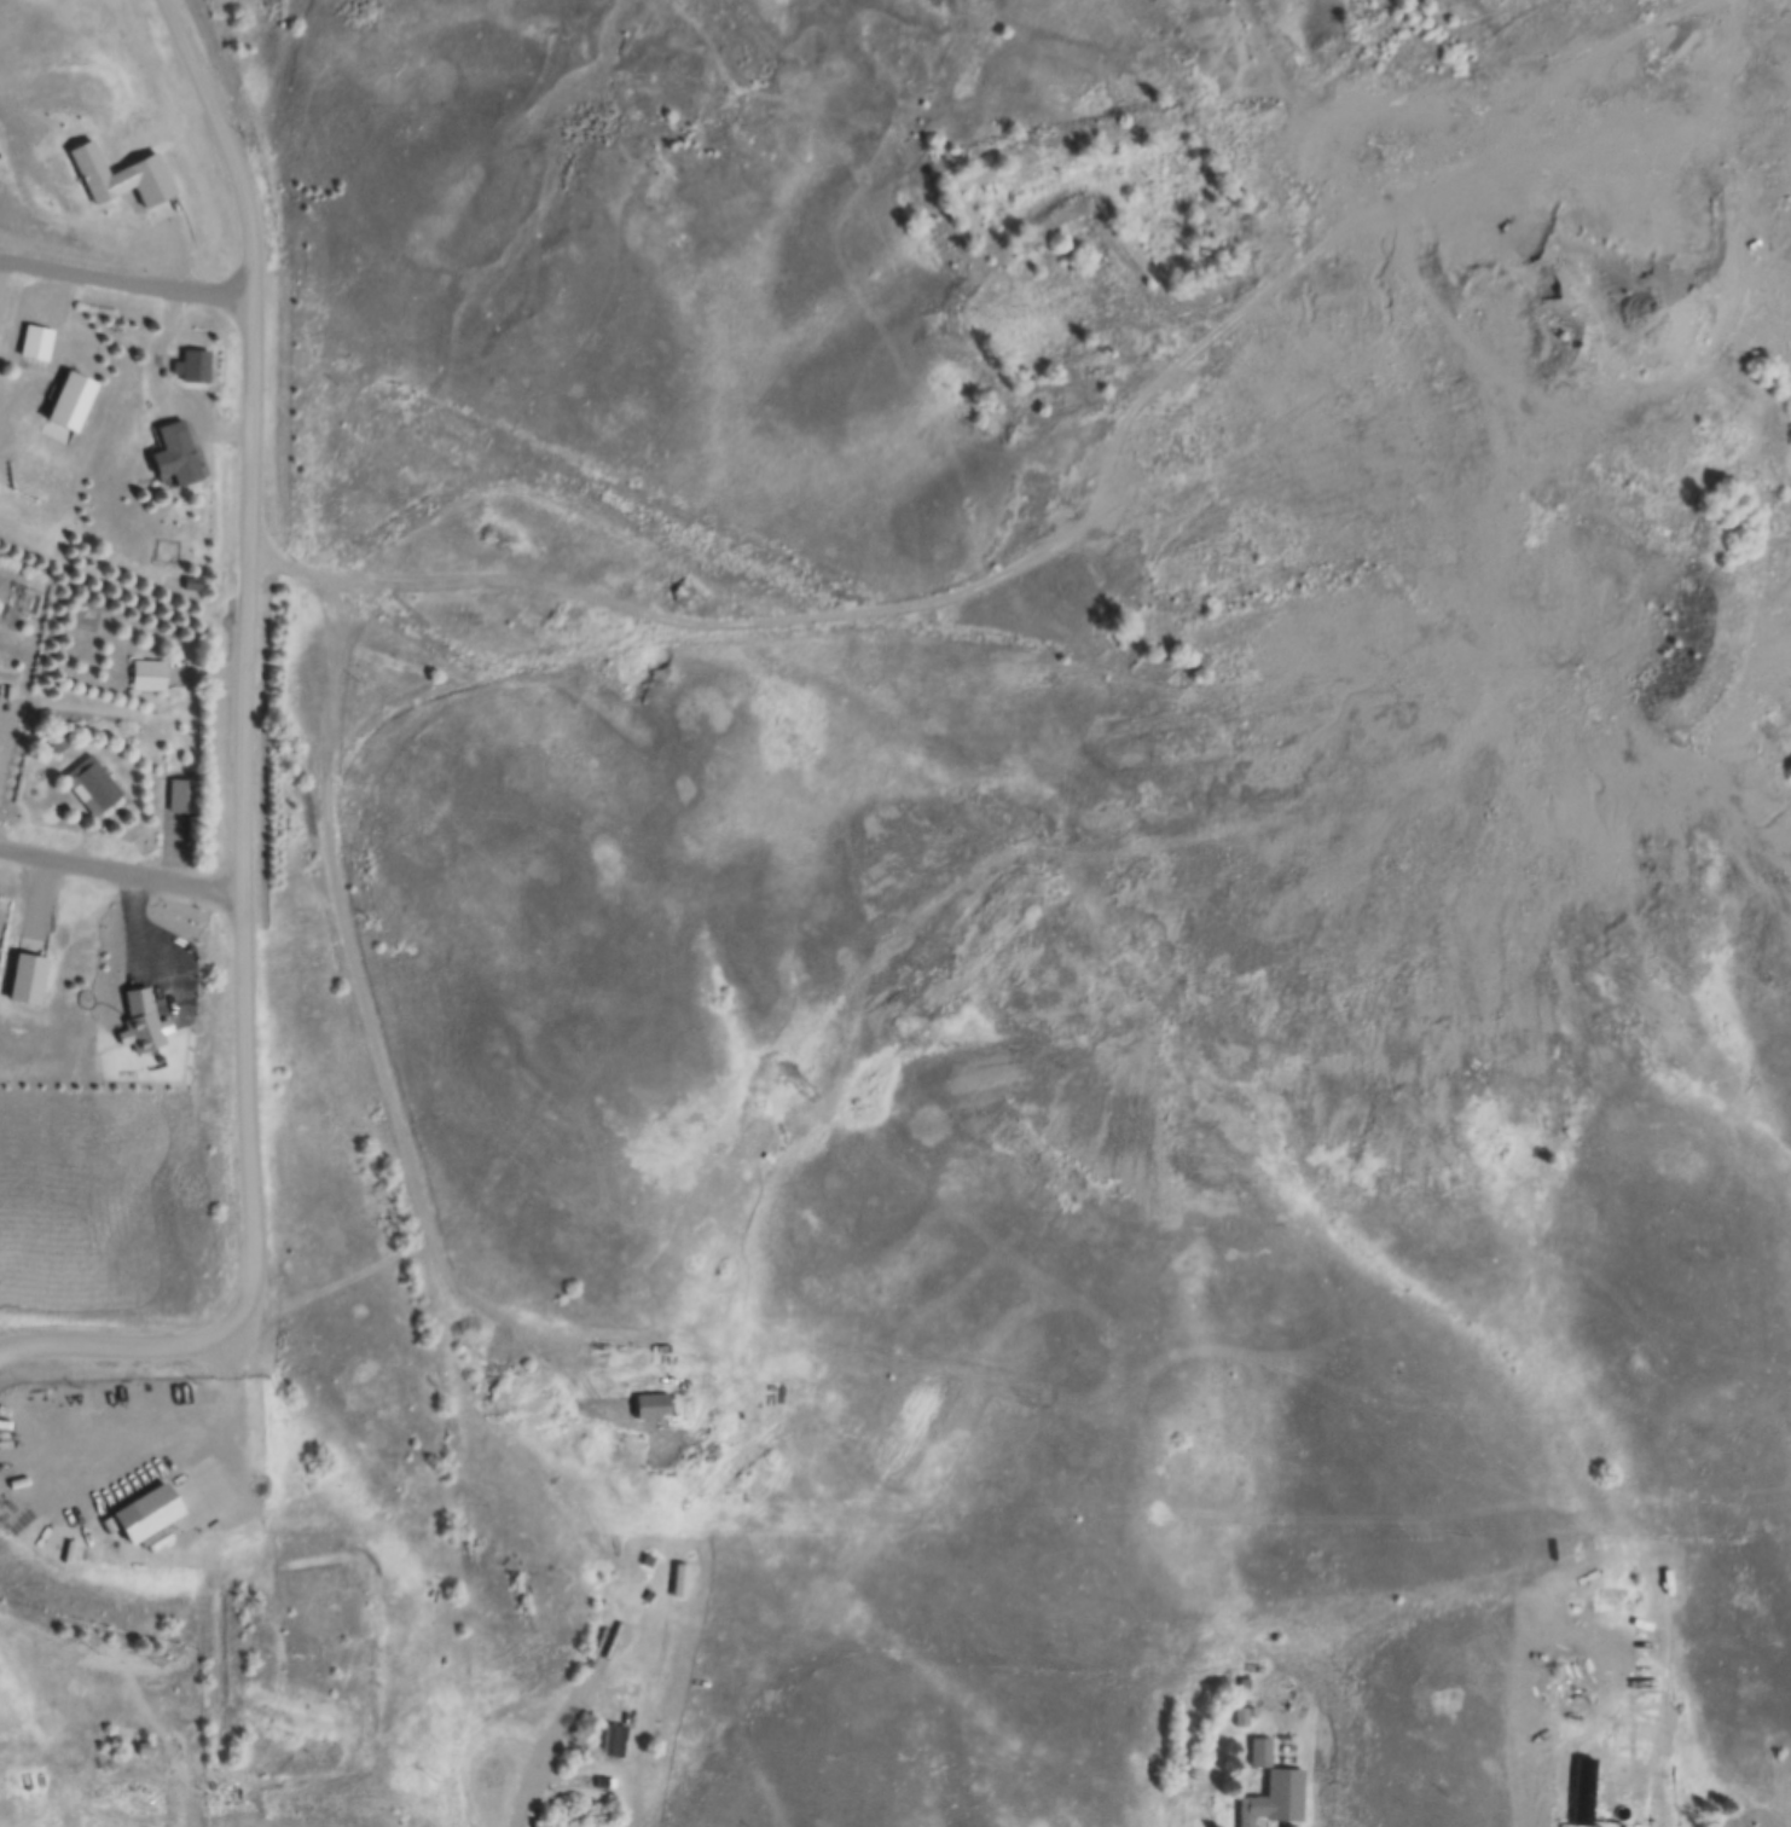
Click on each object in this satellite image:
building: (122, 176)
road: (127, 288)
building: (36, 343)
building: (193, 366)
building: (74, 401)
building: (178, 457)
road: (595, 491)
building: (191, 584)
road: (845, 614)
quarry: (1391, 655)
building: (150, 677)
building: (59, 743)
road: (242, 785)
building: (94, 787)
building: (187, 797)
road: (121, 874)
building: (149, 1023)
road: (410, 1148)
building: (653, 1406)
building: (157, 1516)
building: (1241, 1716)
building: (614, 1740)
road: (550, 1752)
building: (1262, 1753)
building: (1587, 1792)
building: (1276, 1800)

